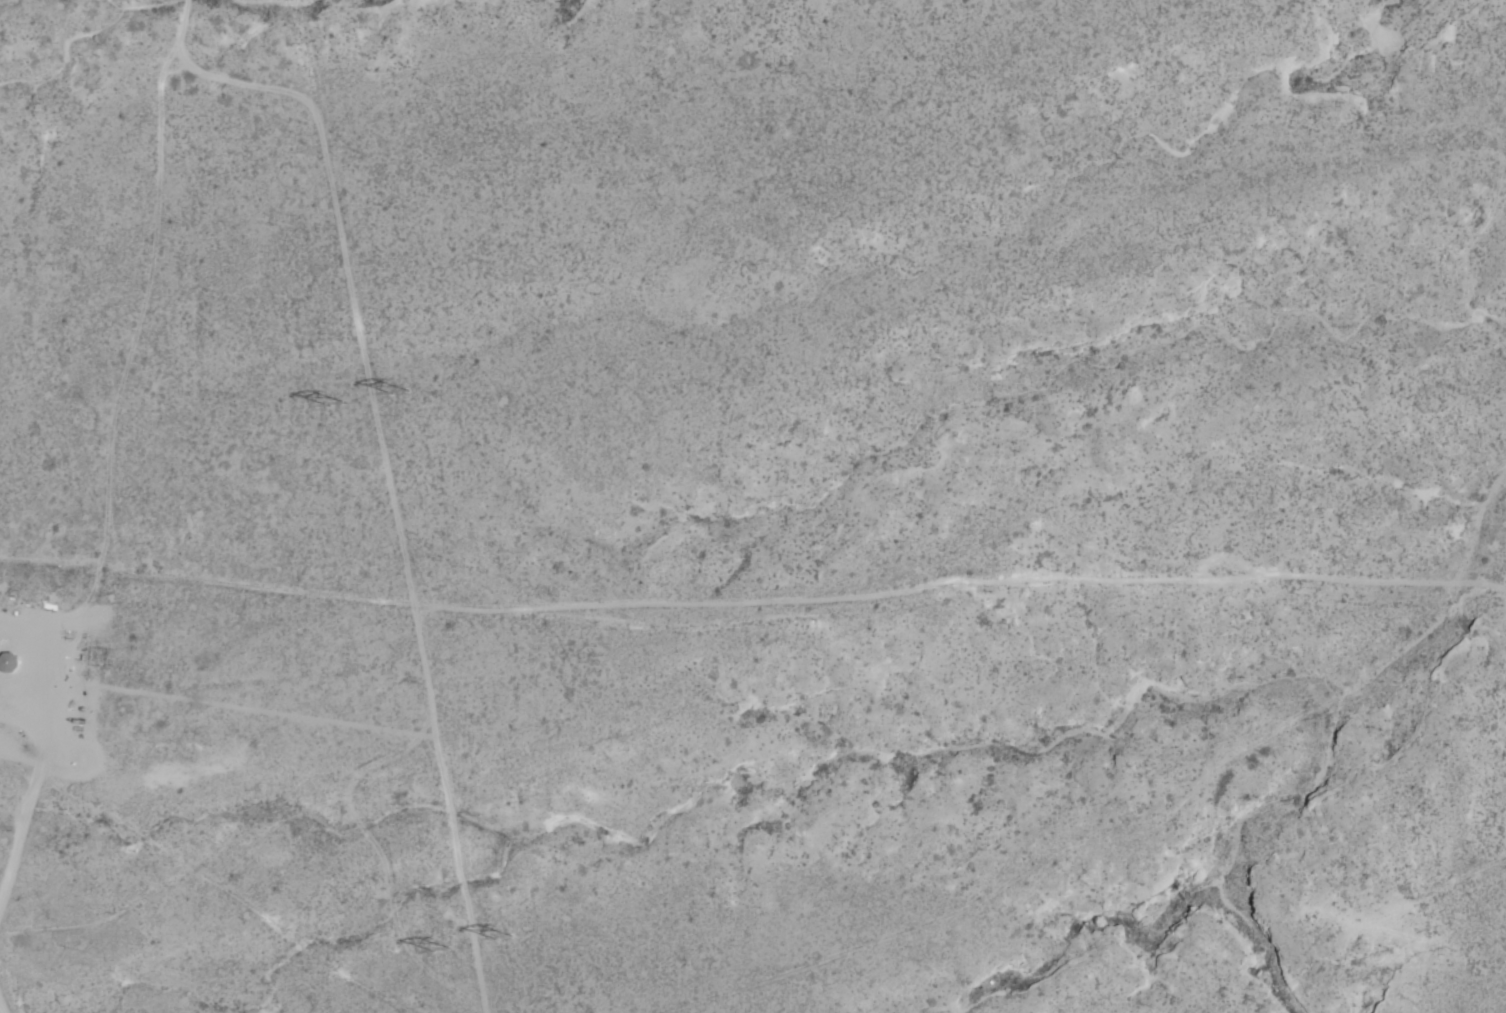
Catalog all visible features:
power tower: (398, 396)
power tower: (335, 406)
road: (36, 566)
road: (47, 690)
road: (196, 902)
power tower: (495, 936)
power tower: (436, 950)

